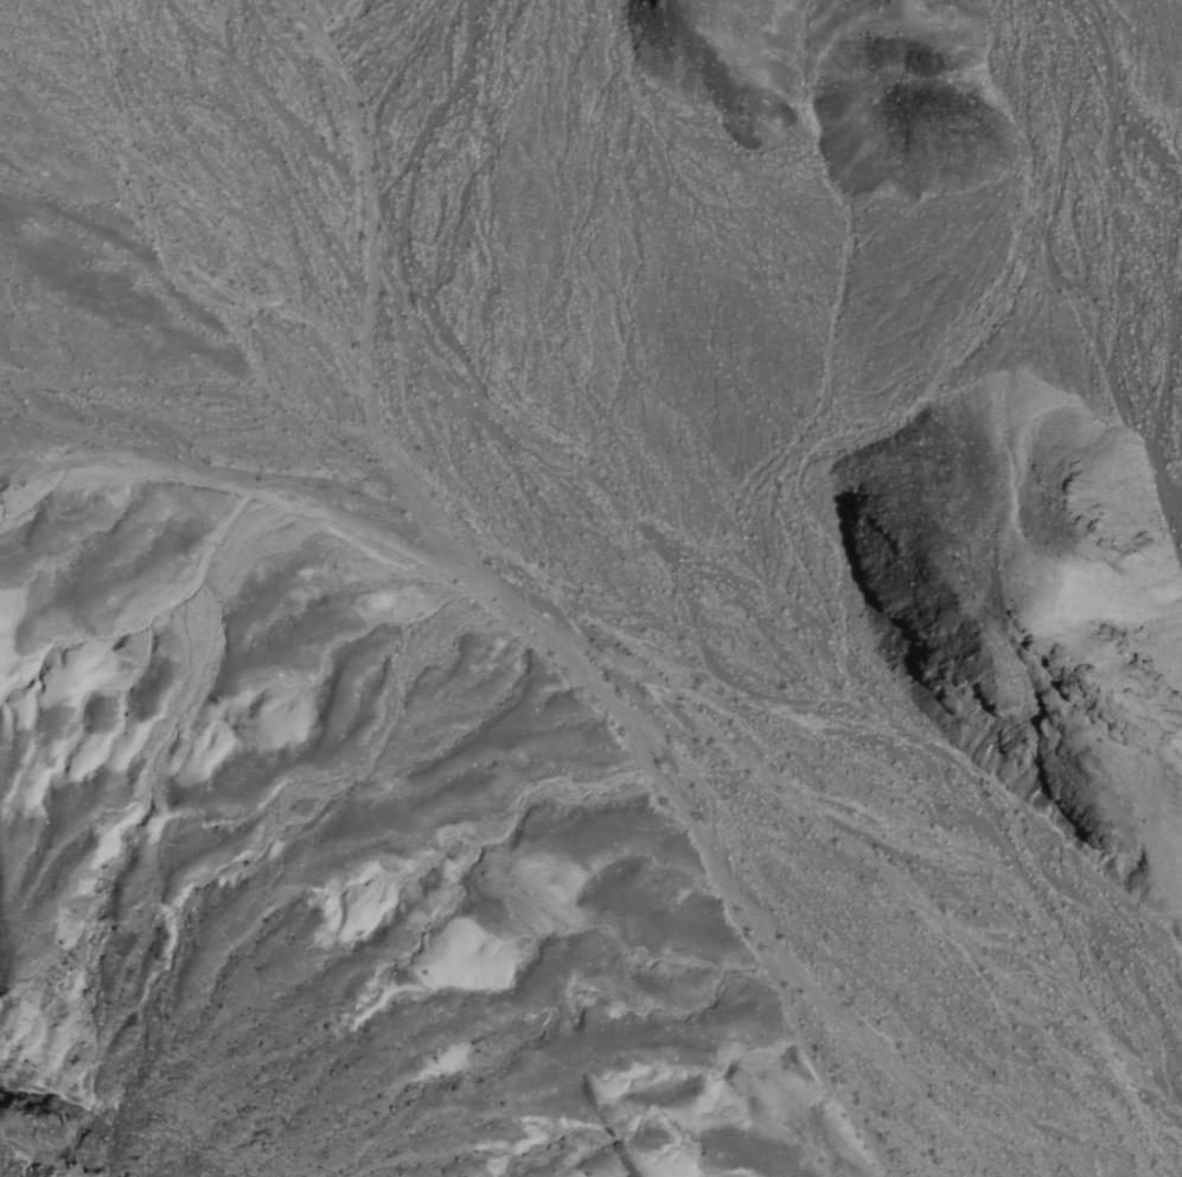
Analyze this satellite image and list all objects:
road: (496, 702)

